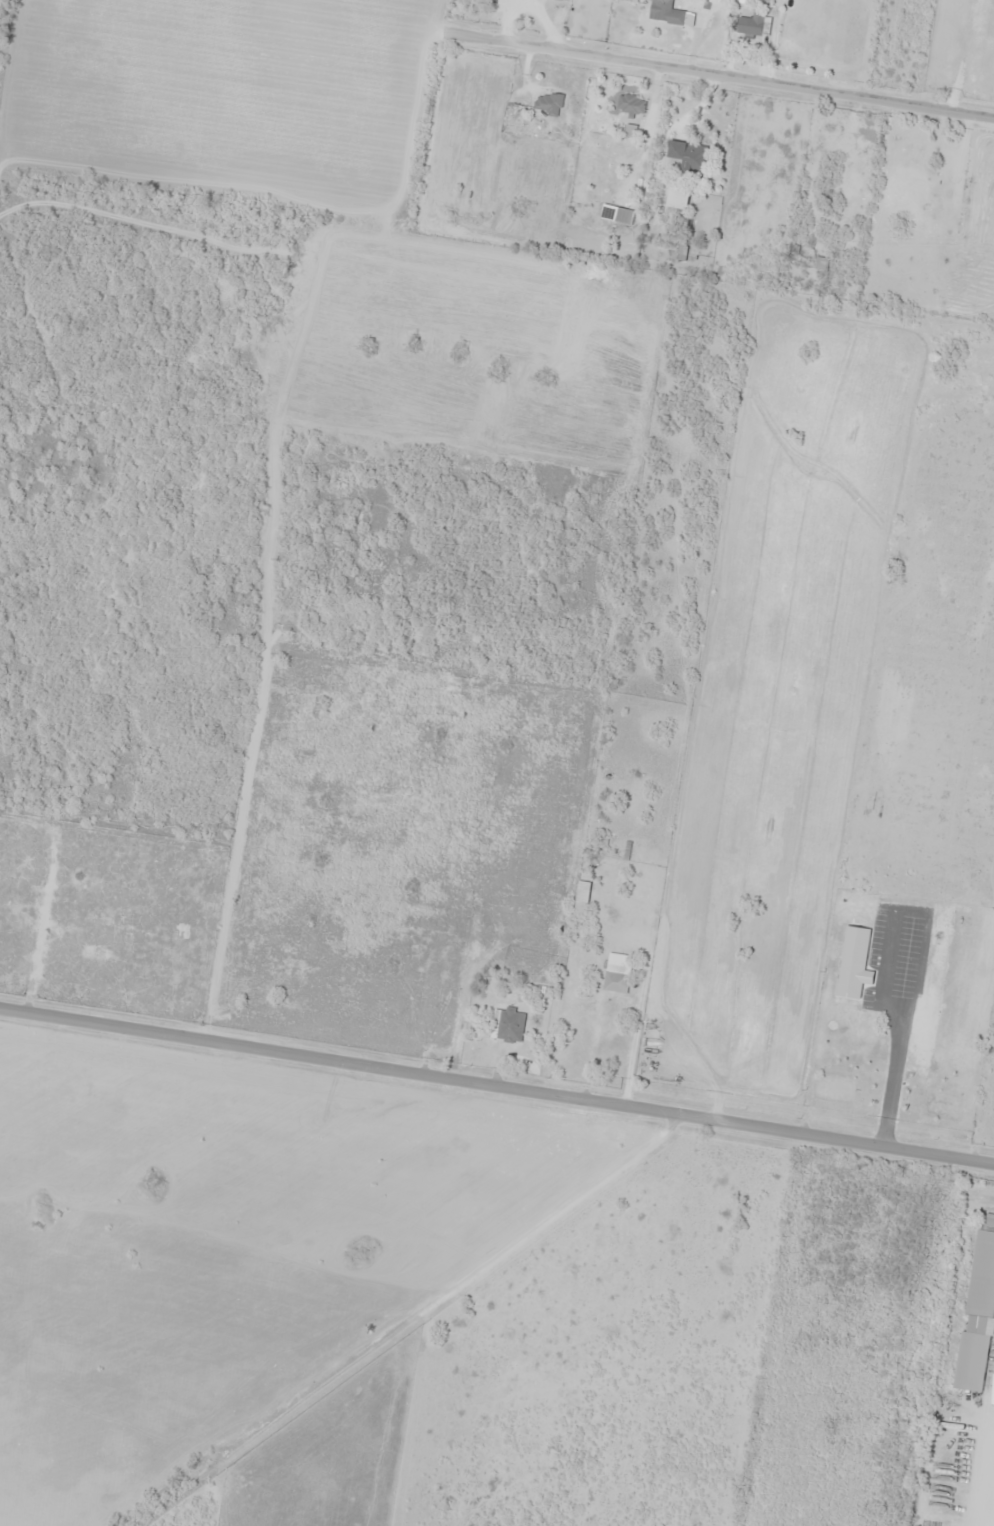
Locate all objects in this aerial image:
building: (665, 13)
building: (750, 23)
road: (718, 75)
building: (548, 103)
building: (630, 104)
building: (689, 156)
building: (675, 203)
building: (616, 214)
building: (617, 983)
building: (510, 1025)
road: (497, 1090)
building: (987, 1220)
building: (981, 1277)
building: (971, 1362)
building: (939, 1461)

